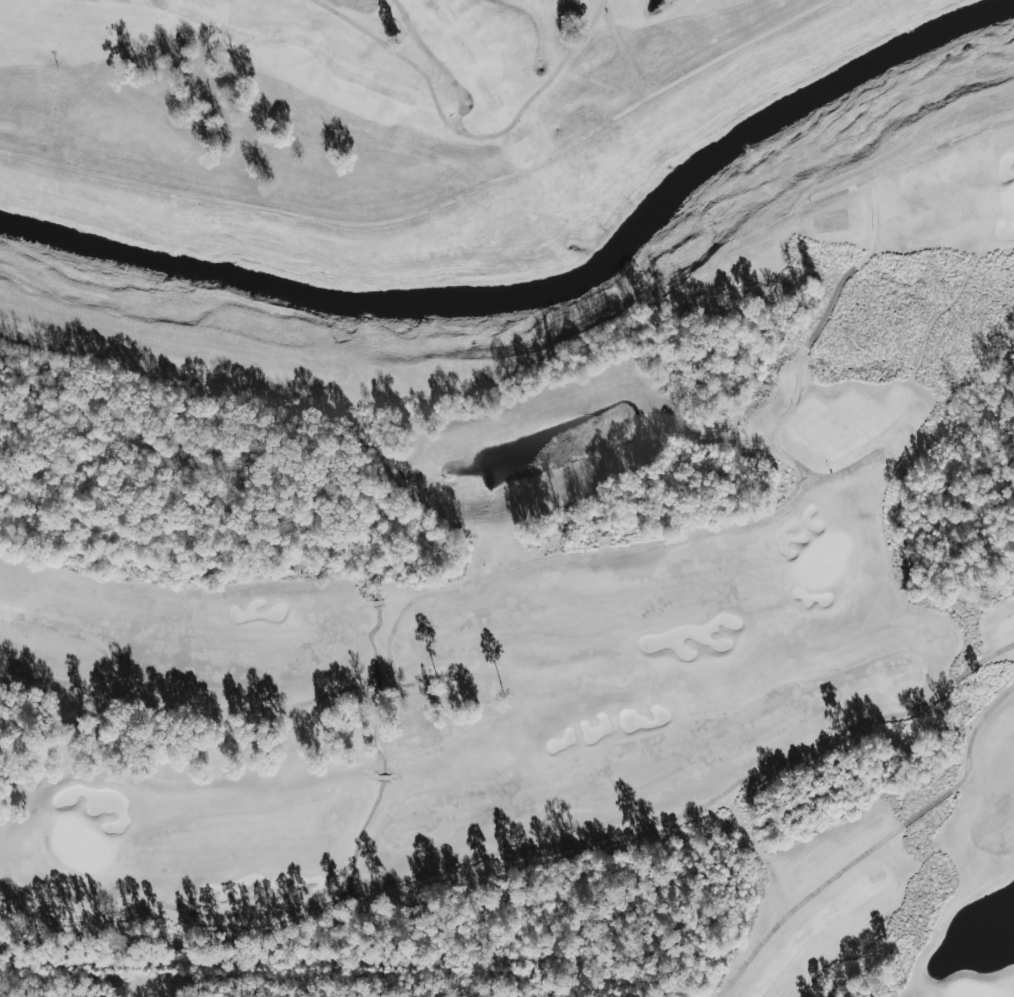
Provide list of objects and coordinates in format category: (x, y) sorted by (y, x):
park: (349, 93)
river: (541, 283)
park: (511, 489)
park: (580, 655)

